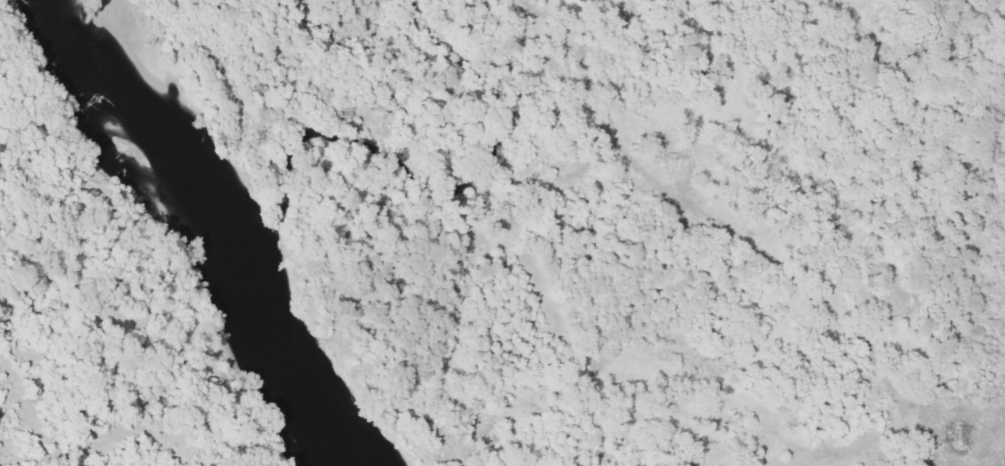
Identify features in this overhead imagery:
river: (216, 226)

